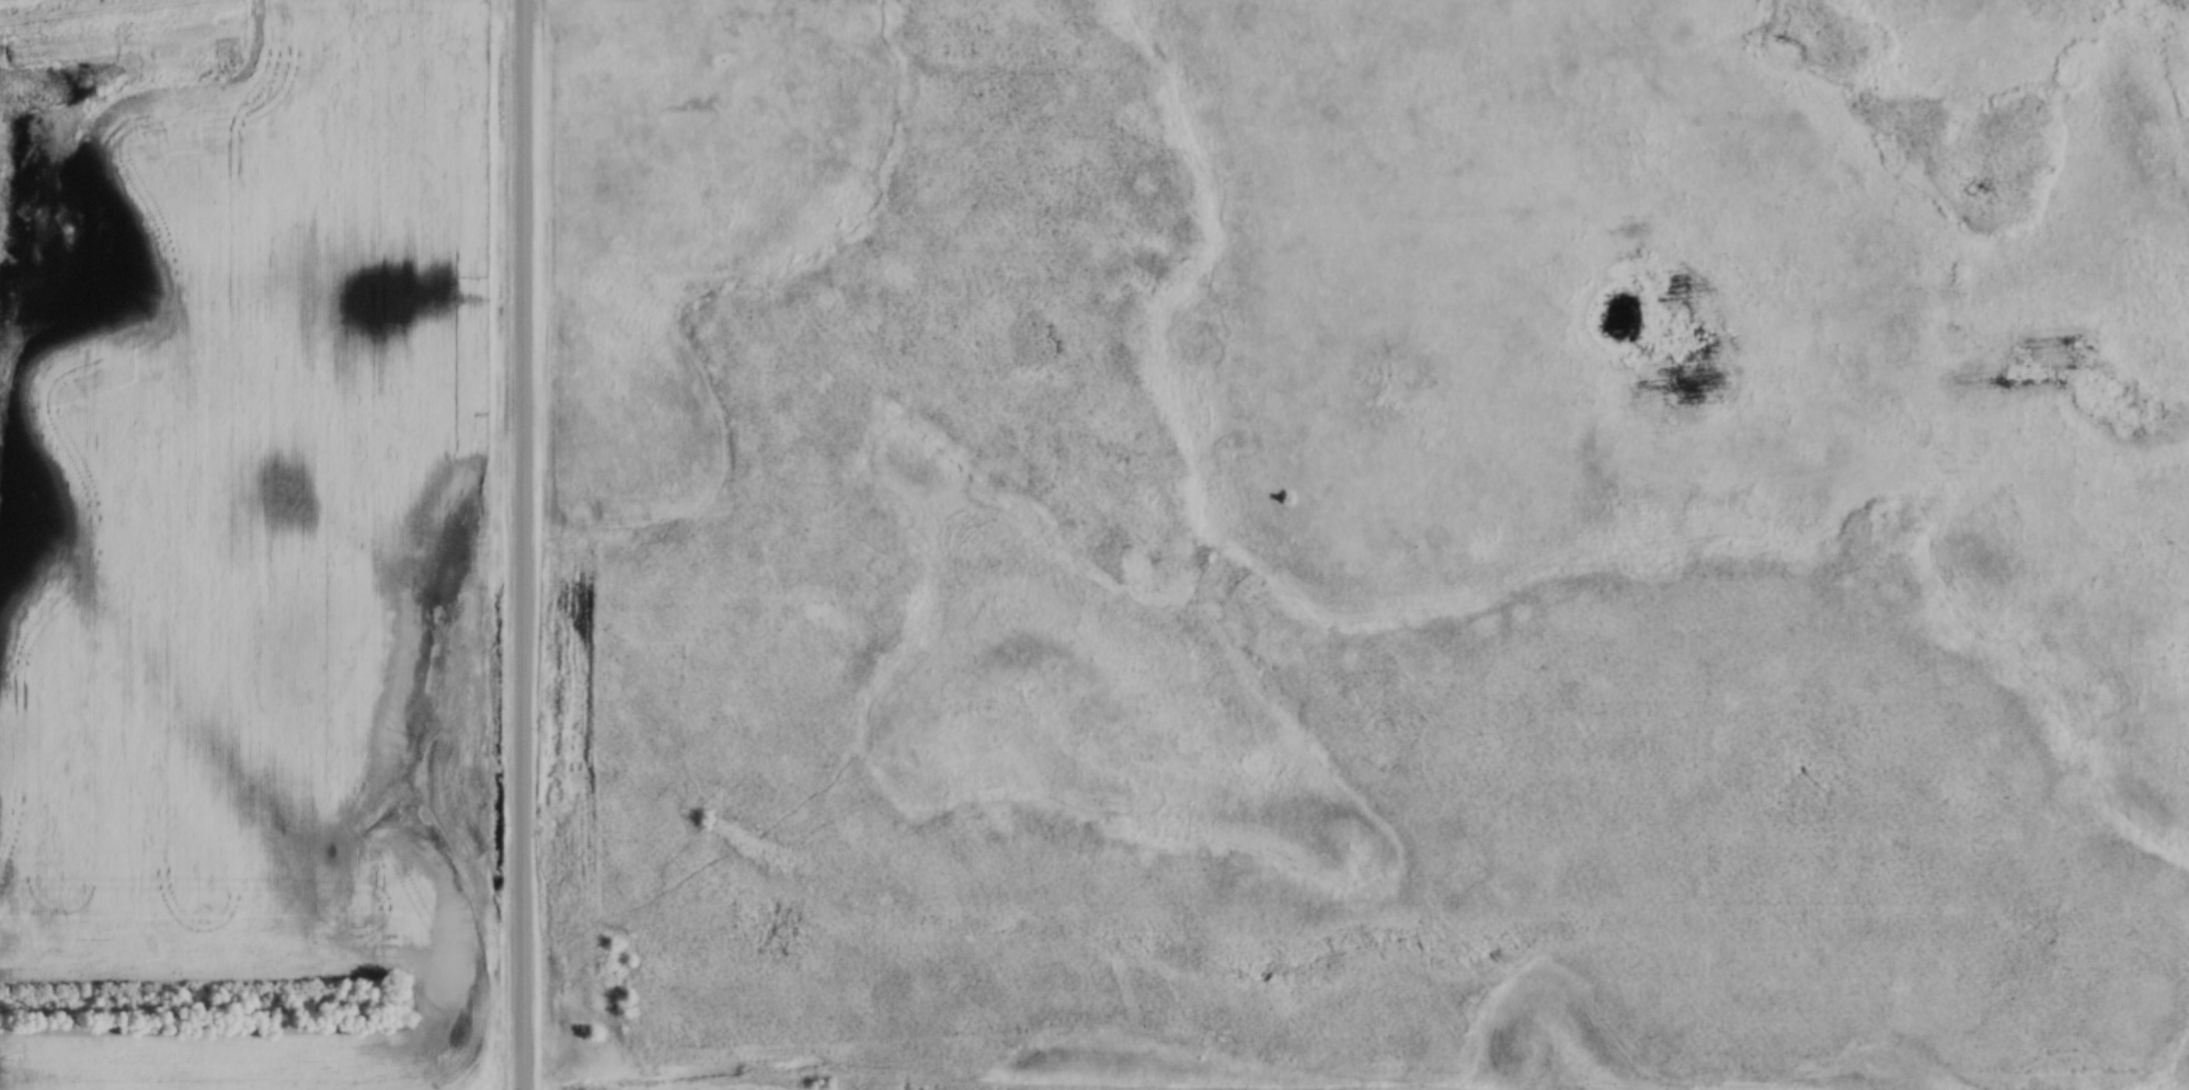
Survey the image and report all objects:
road: (524, 544)

